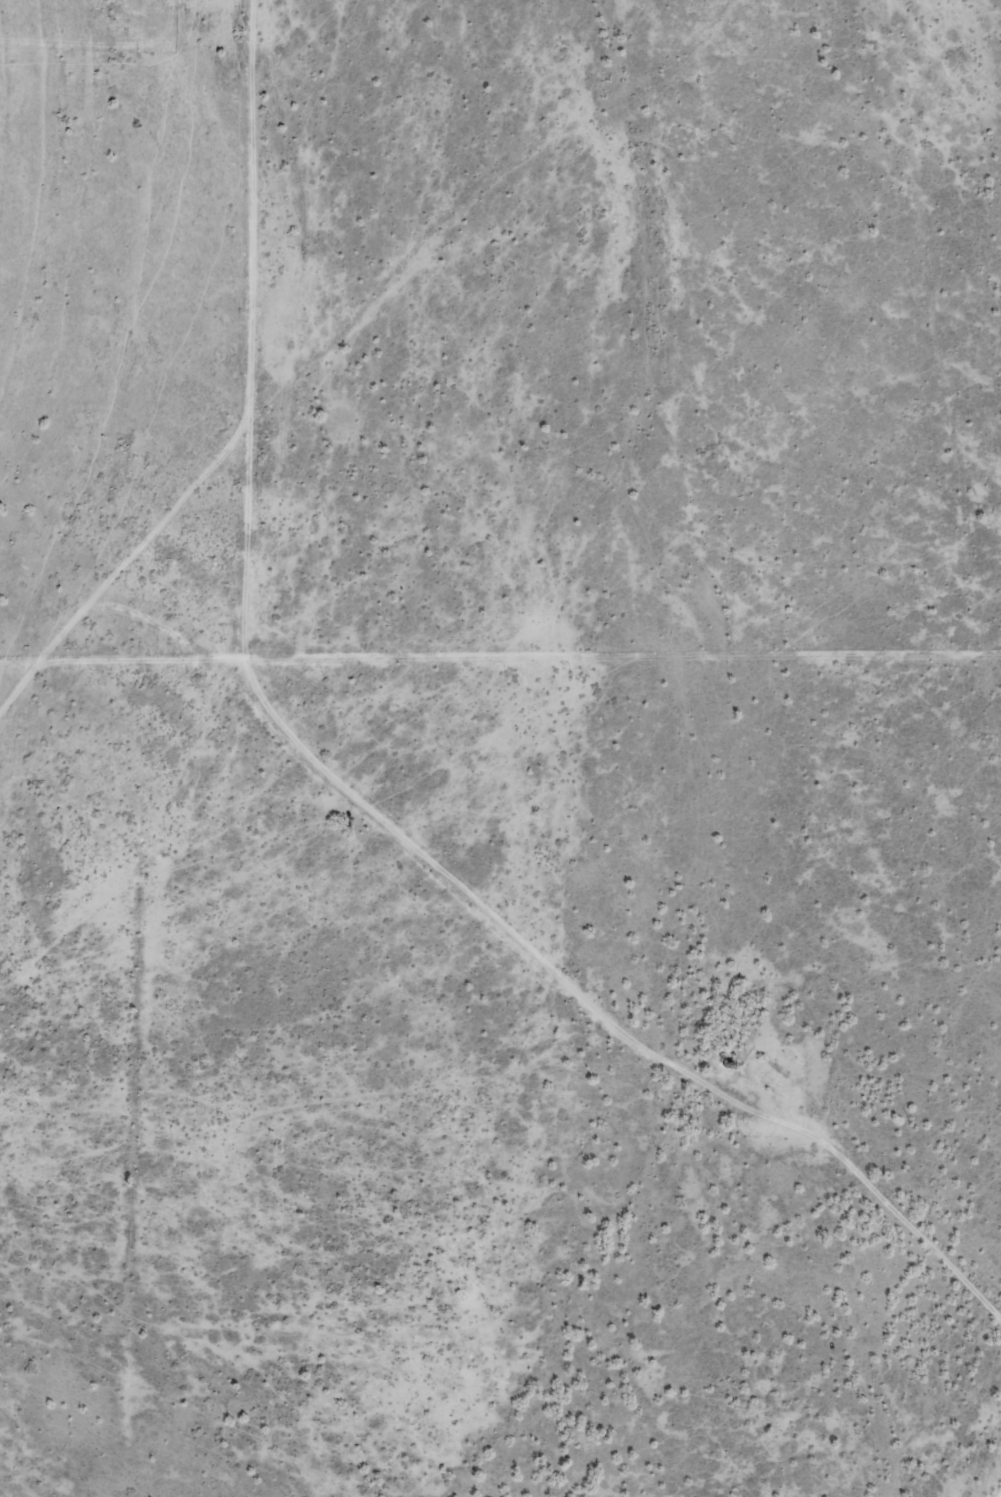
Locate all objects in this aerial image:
road: (225, 219)
road: (339, 372)
road: (523, 933)

